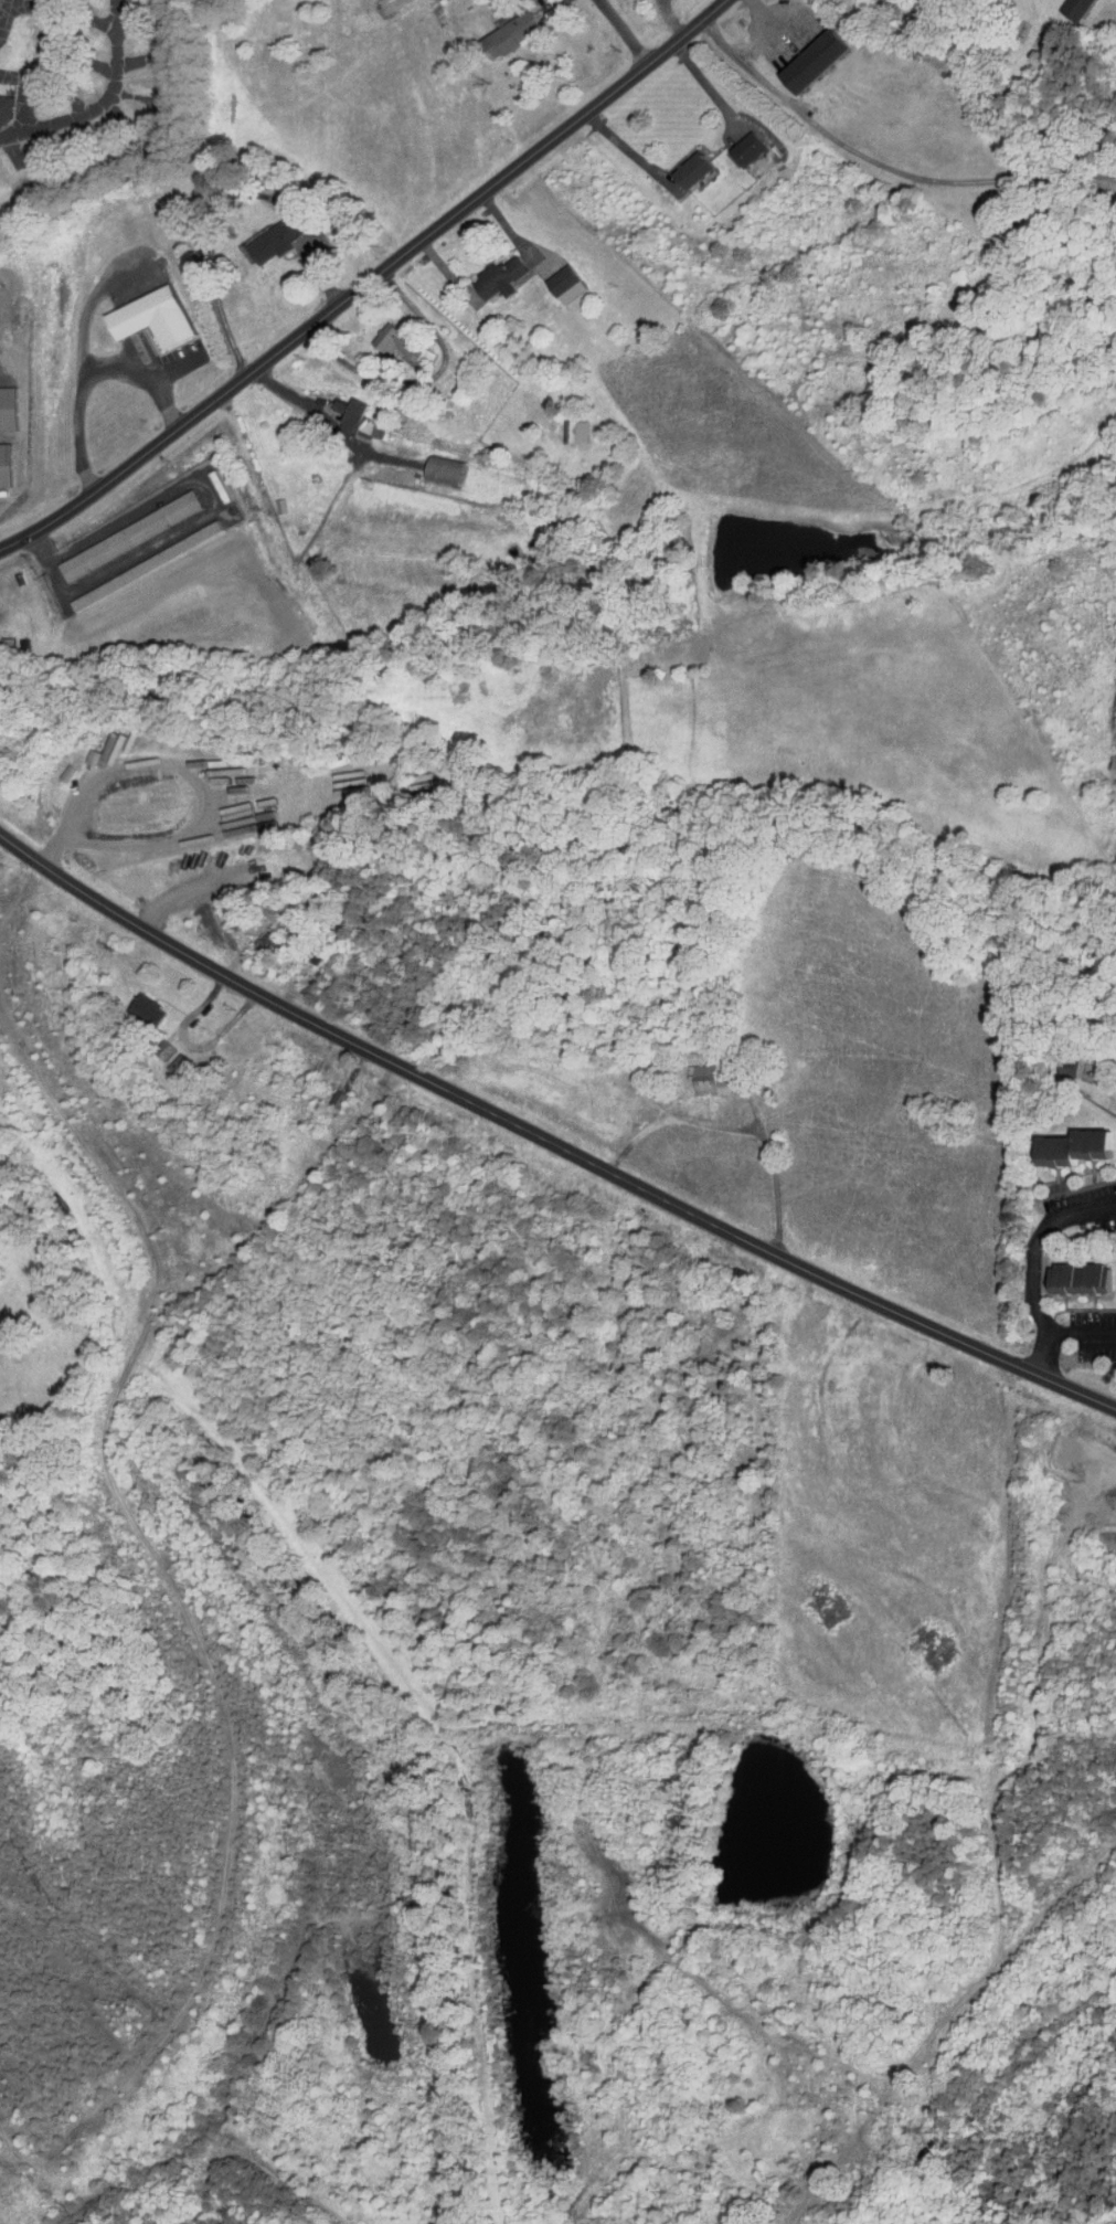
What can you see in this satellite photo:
road: (1, 6)
building: (1064, 6)
building: (501, 28)
road: (758, 32)
road: (615, 33)
building: (808, 54)
road: (705, 82)
building: (1, 99)
road: (103, 106)
building: (738, 142)
road: (625, 148)
building: (687, 163)
road: (881, 165)
road: (295, 221)
building: (267, 233)
road: (209, 251)
road: (317, 268)
building: (492, 272)
building: (556, 278)
road: (363, 283)
building: (146, 311)
building: (387, 335)
road: (173, 371)
road: (86, 373)
road: (426, 378)
road: (304, 401)
building: (2, 402)
building: (354, 416)
building: (564, 425)
building: (436, 465)
building: (0, 478)
road: (208, 494)
building: (120, 530)
building: (140, 1003)
building: (1051, 1061)
building: (699, 1073)
building: (1109, 1073)
building: (1053, 1140)
road: (548, 1144)
road: (1031, 1267)
building: (1063, 1271)
building: (1110, 1271)
road: (1082, 1334)
road: (30, 1793)

